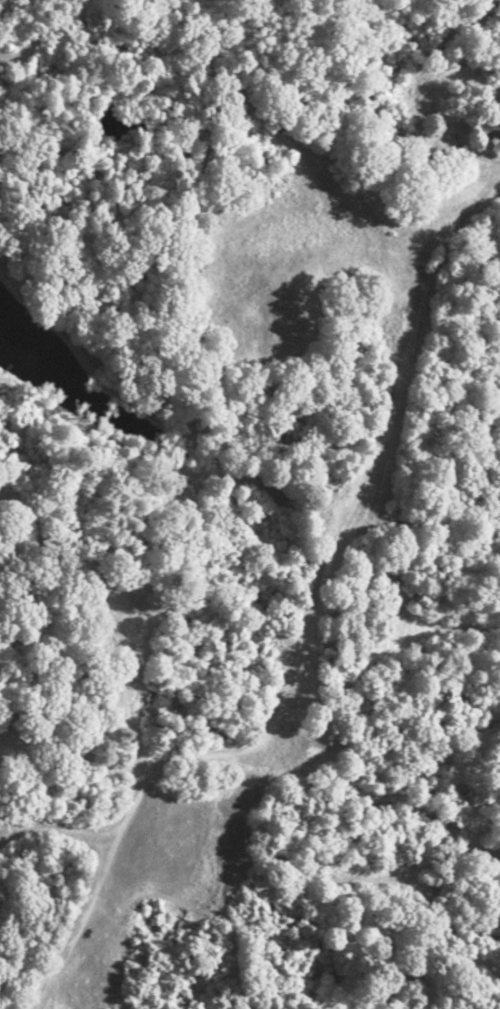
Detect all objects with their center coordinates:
building: (276, 688)

